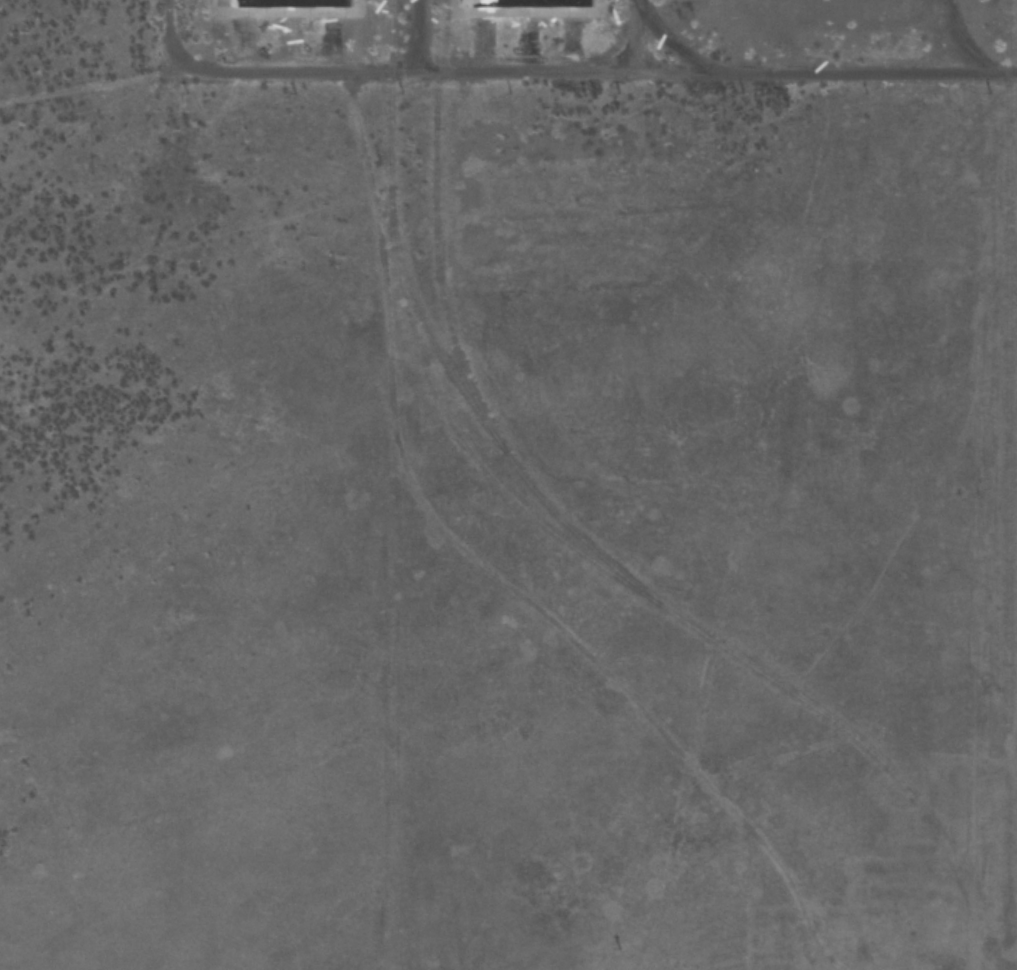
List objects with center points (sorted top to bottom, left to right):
building: (283, 2)
building: (528, 2)
road: (669, 35)
railway: (435, 64)
road: (550, 72)
railway: (381, 83)
railway: (425, 327)
railway: (453, 340)
railway: (1002, 485)
railway: (575, 548)
road: (488, 582)

